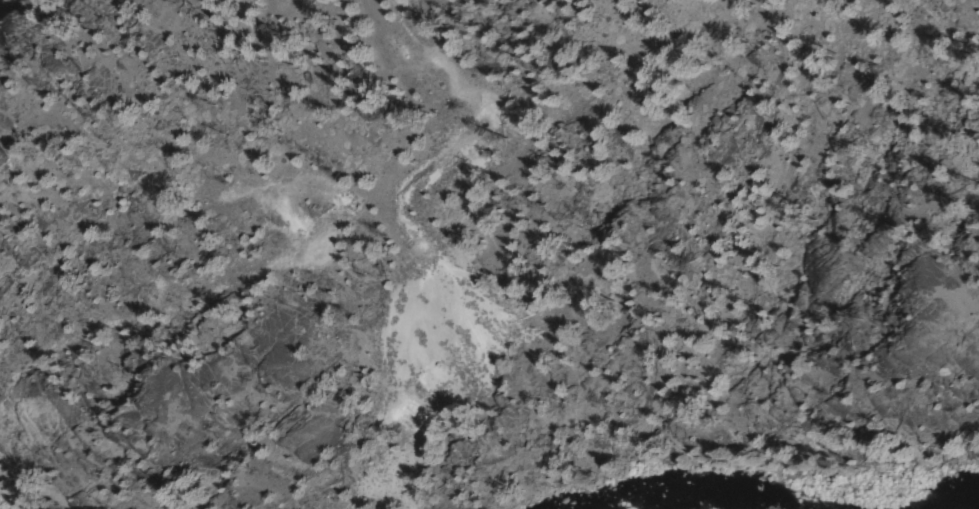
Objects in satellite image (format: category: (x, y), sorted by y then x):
river: (760, 463)
river: (940, 483)
river: (565, 489)
river: (37, 492)

